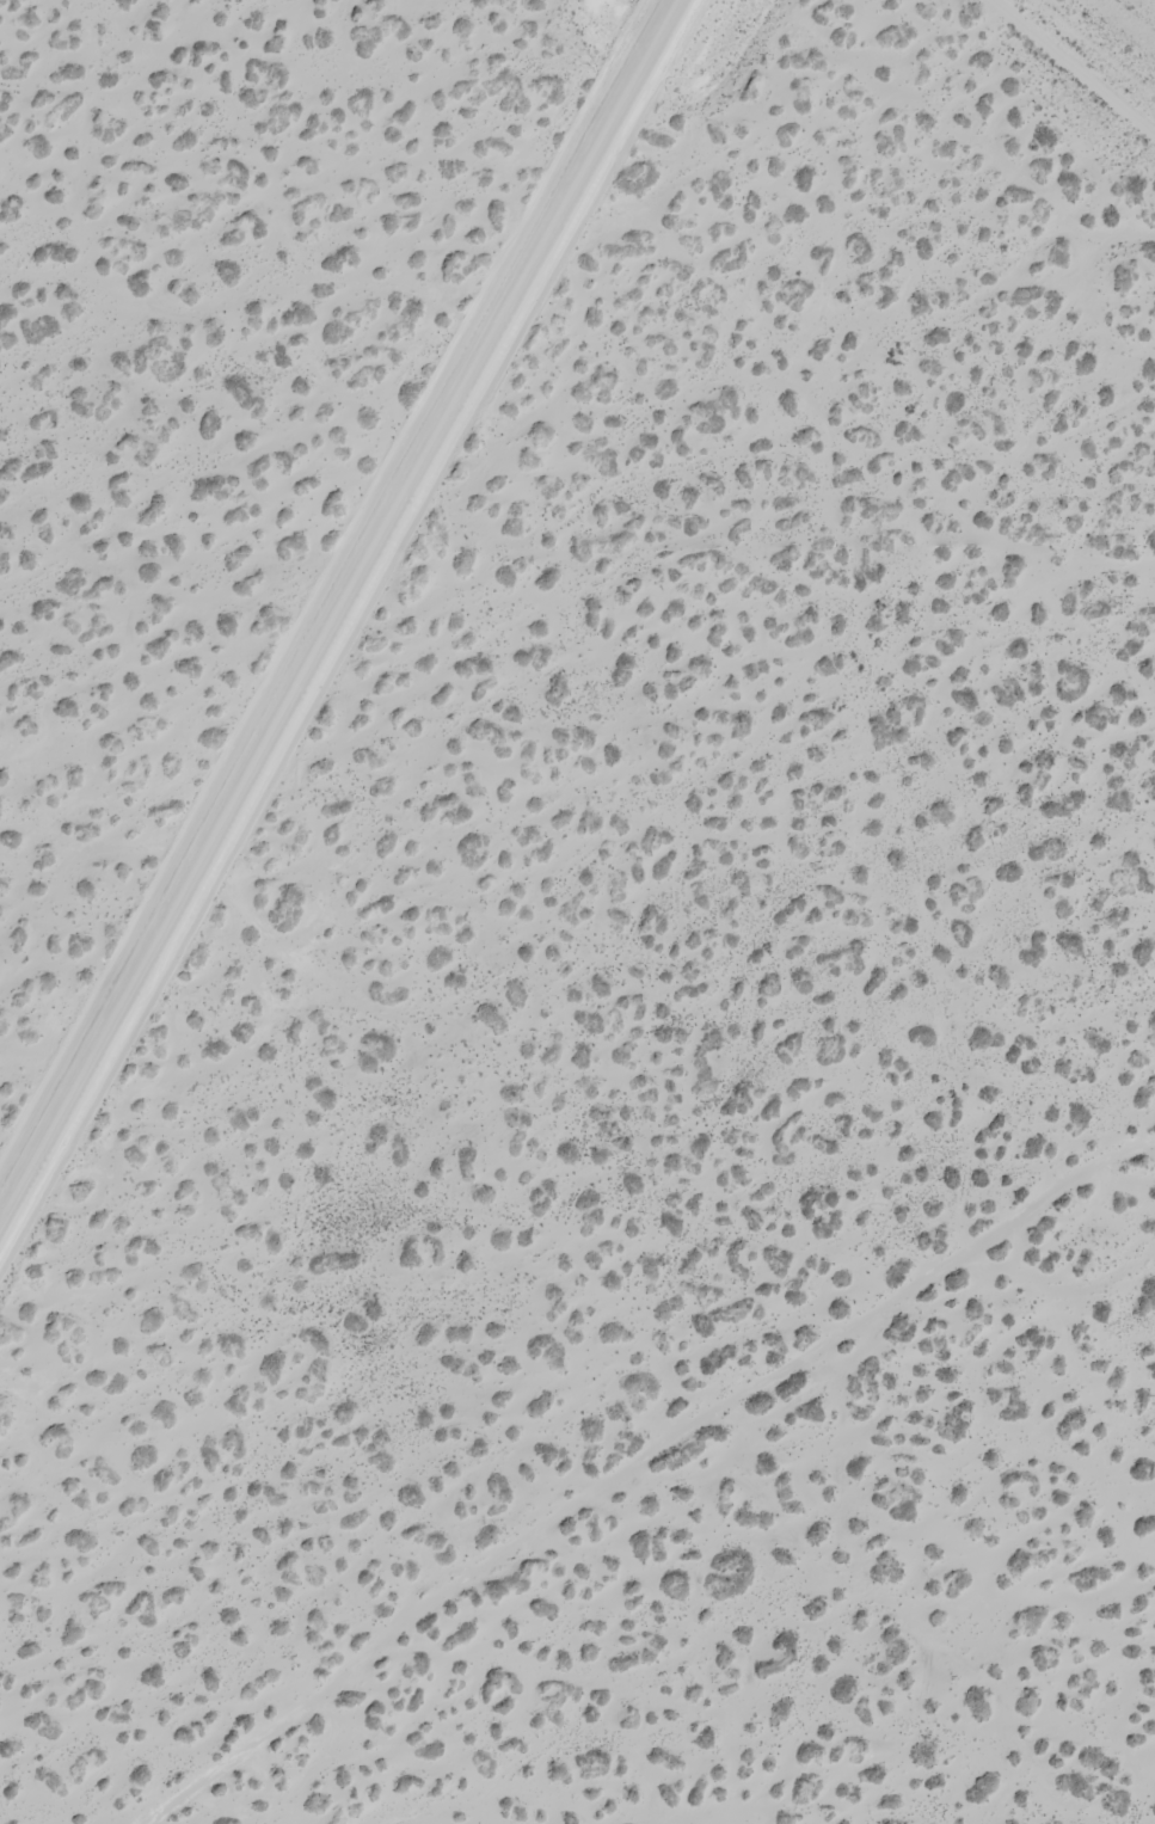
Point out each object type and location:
road: (336, 608)

